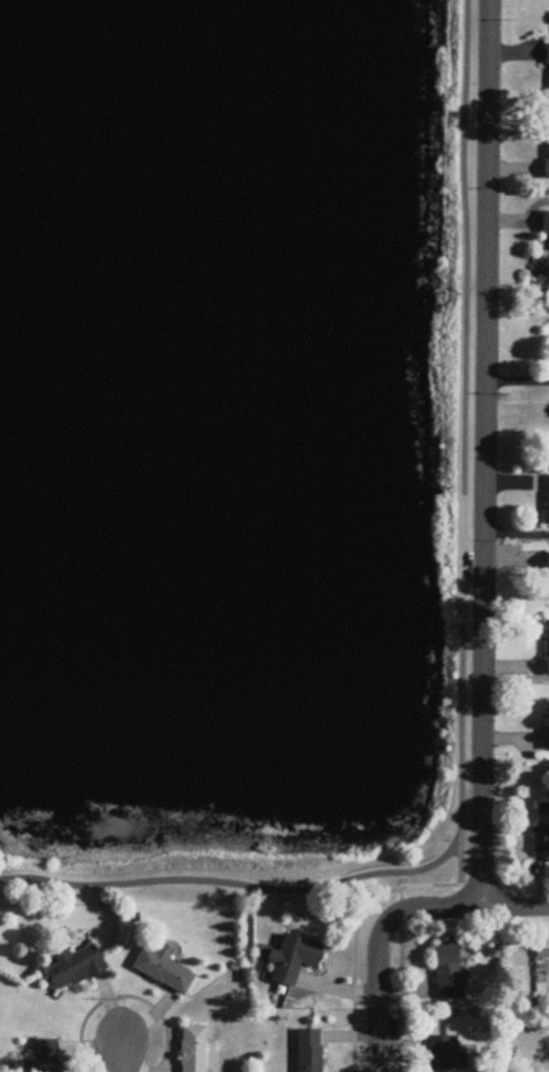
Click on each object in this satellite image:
building: (547, 55)
building: (547, 157)
building: (545, 225)
road: (465, 410)
park: (236, 447)
road: (485, 452)
building: (547, 502)
building: (547, 564)
building: (547, 650)
building: (548, 726)
building: (542, 829)
road: (458, 836)
road: (445, 854)
road: (457, 866)
road: (210, 869)
road: (1, 872)
road: (512, 904)
road: (352, 939)
road: (376, 948)
building: (292, 960)
building: (73, 970)
building: (163, 971)
building: (448, 973)
road: (398, 979)
road: (122, 997)
building: (194, 1049)
building: (310, 1051)
building: (446, 1055)
road: (122, 1056)
building: (46, 1059)

